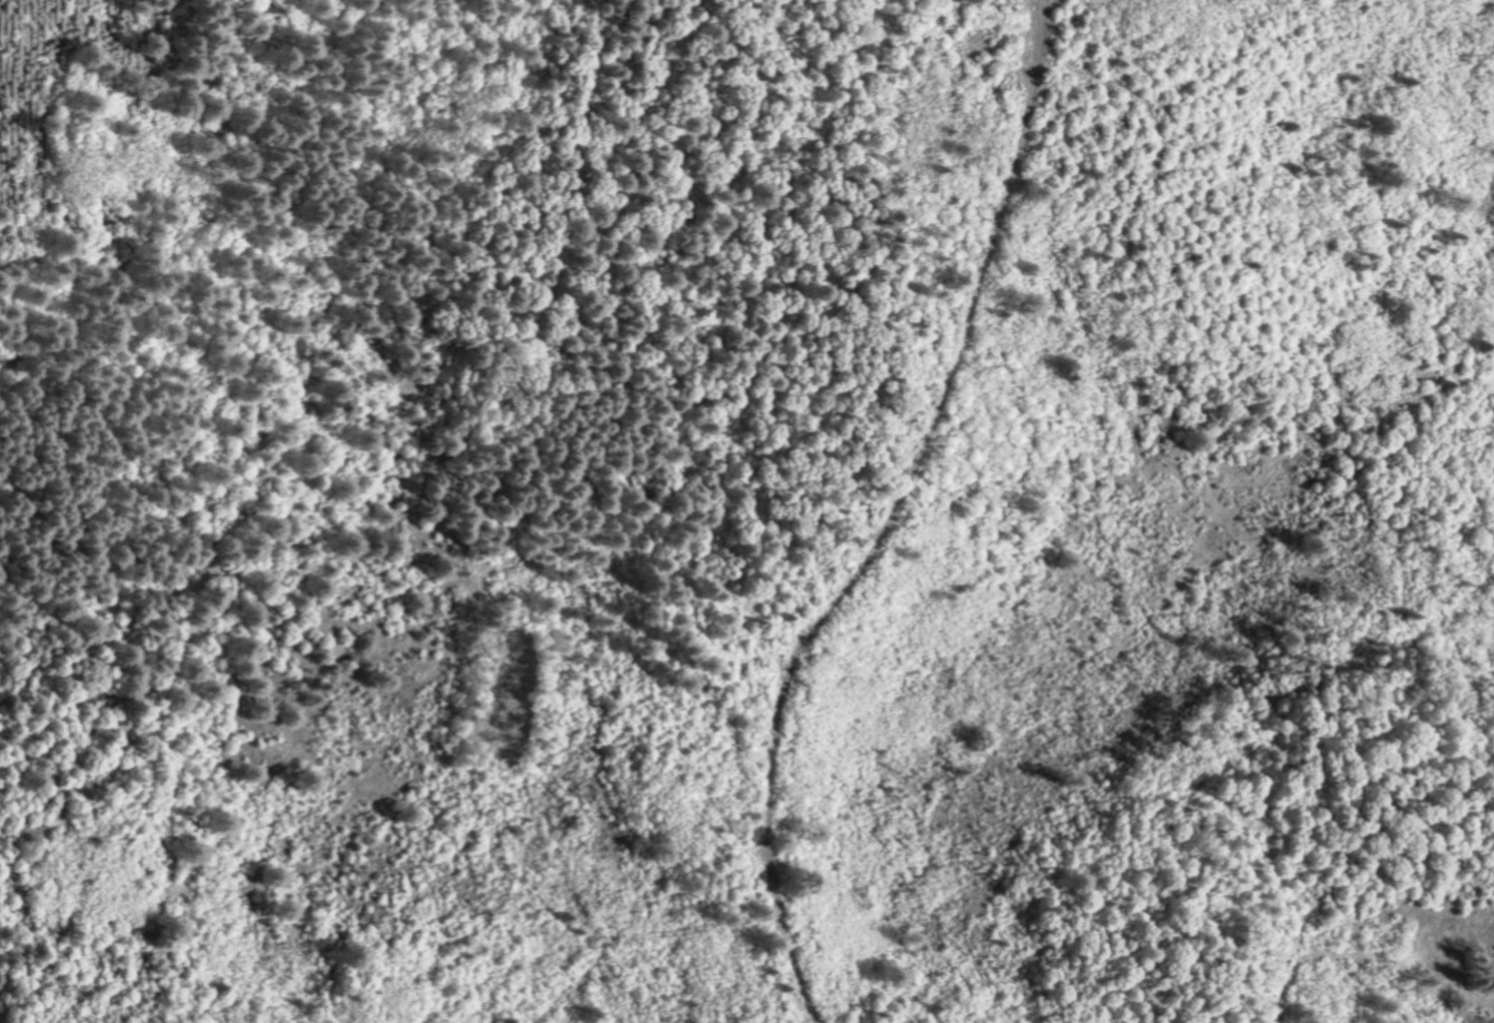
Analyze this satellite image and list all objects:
road: (884, 520)

